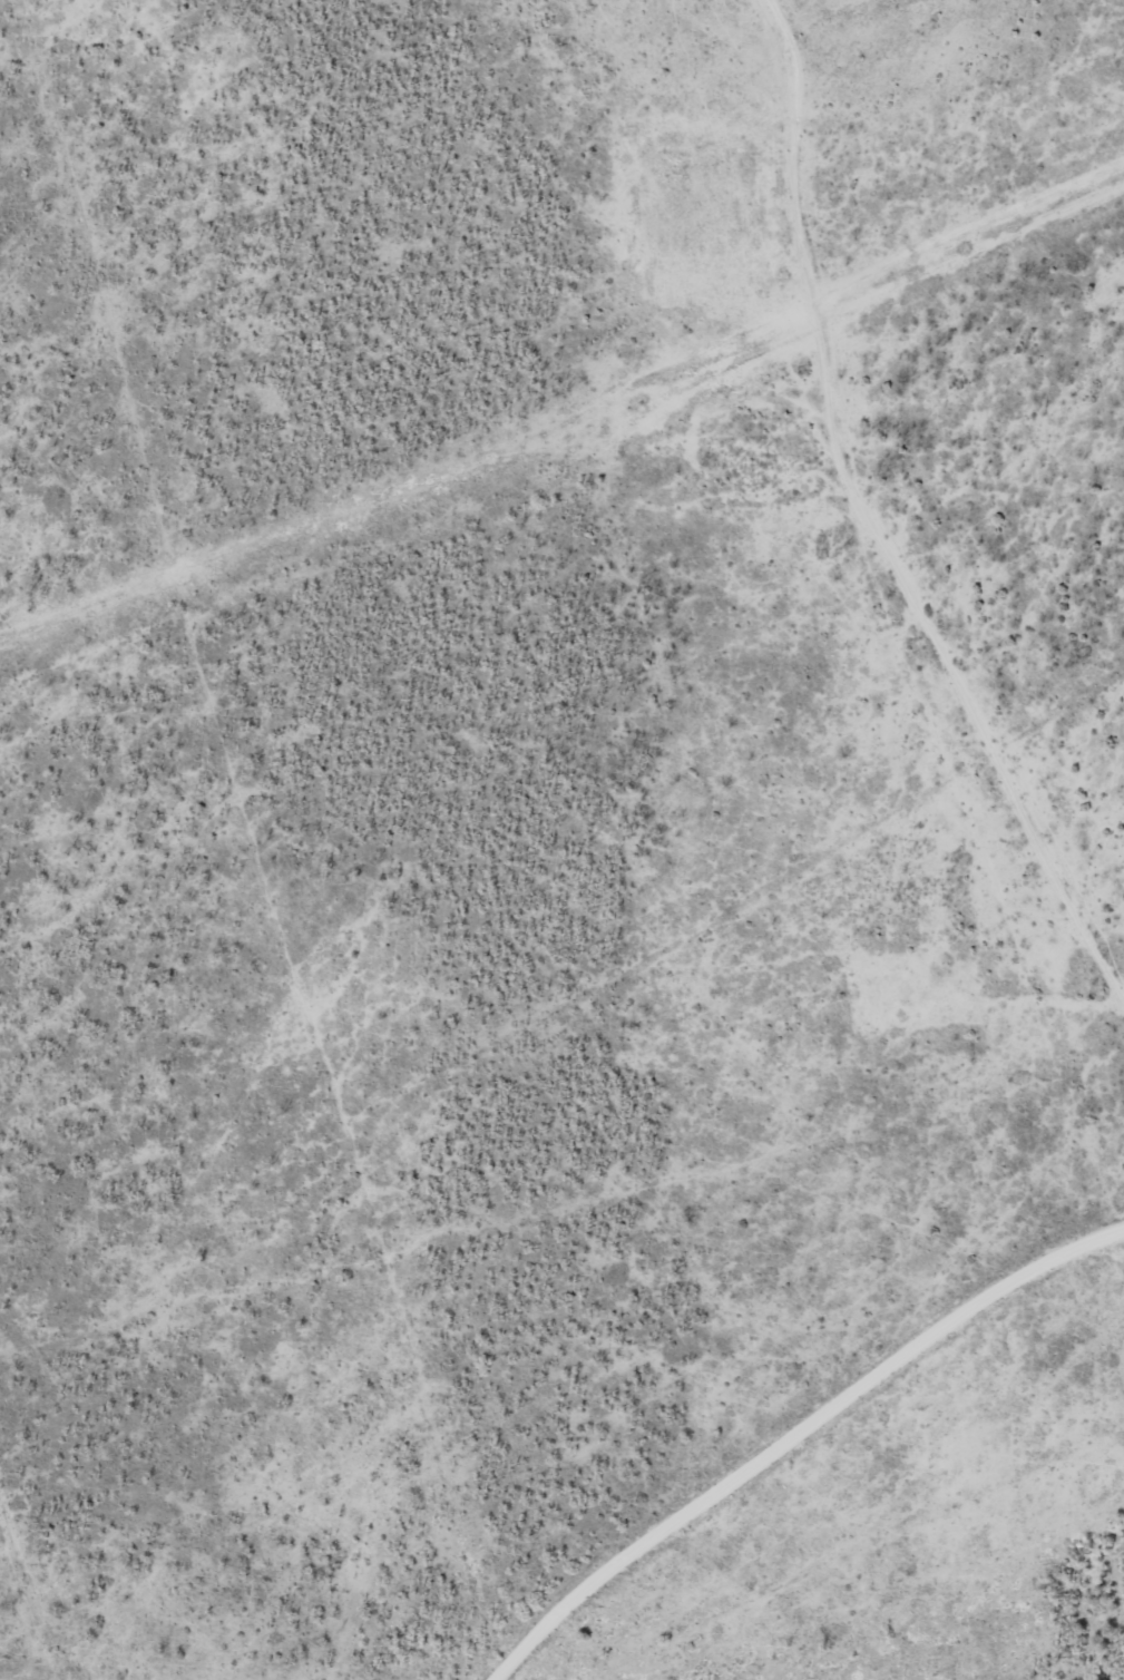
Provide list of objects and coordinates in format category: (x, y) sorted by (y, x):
road: (882, 516)
road: (809, 1439)
road: (31, 1605)

